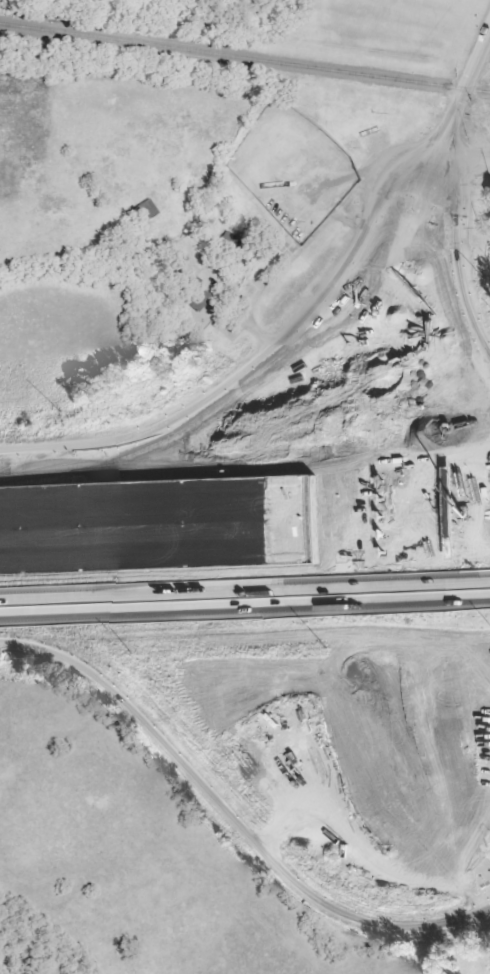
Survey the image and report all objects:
railway: (244, 58)
road: (462, 90)
building: (361, 128)
road: (463, 153)
building: (142, 210)
road: (344, 270)
building: (190, 292)
road: (451, 439)
road: (206, 450)
road: (401, 496)
road: (156, 509)
road: (417, 509)
road: (467, 516)
road: (366, 536)
road: (402, 536)
road: (157, 544)
road: (456, 590)
road: (211, 602)
parking lot: (472, 703)
road: (422, 925)

